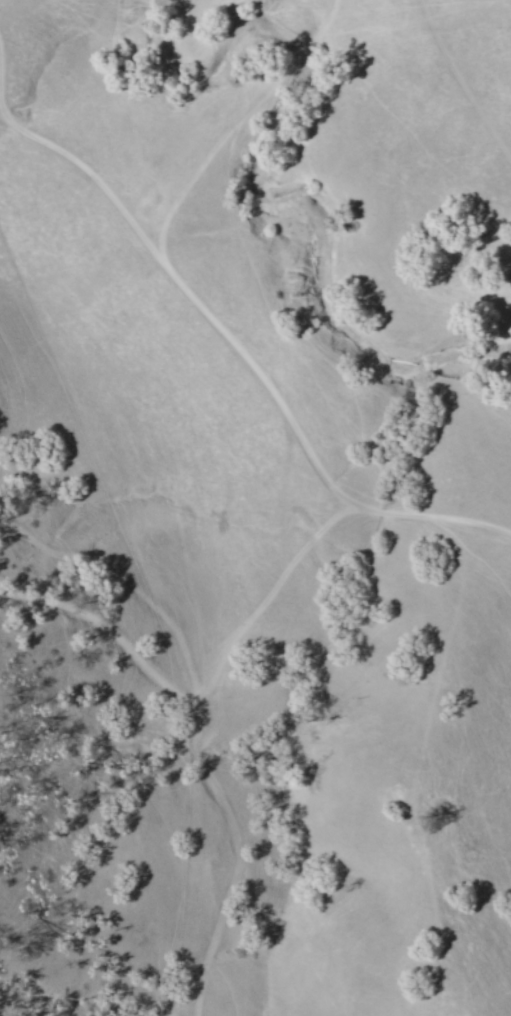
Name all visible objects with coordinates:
road: (464, 78)
road: (220, 332)

